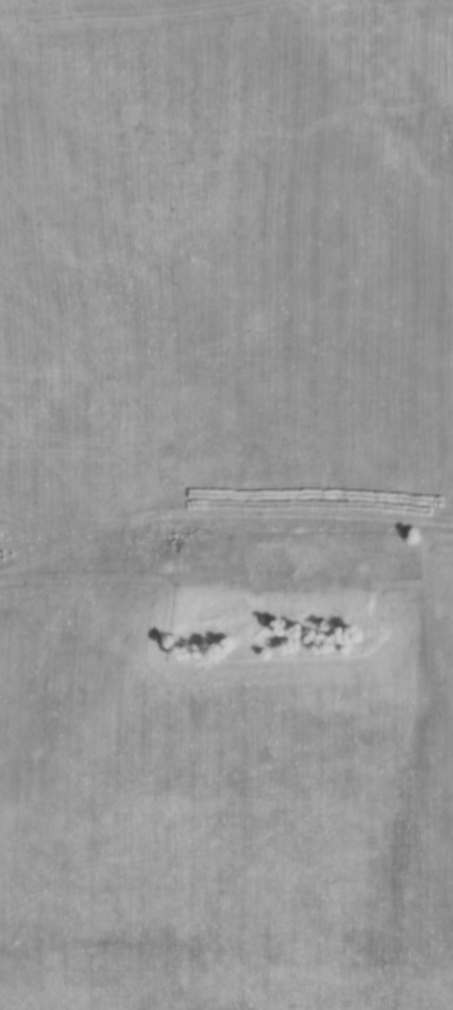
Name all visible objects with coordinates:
road: (225, 511)

